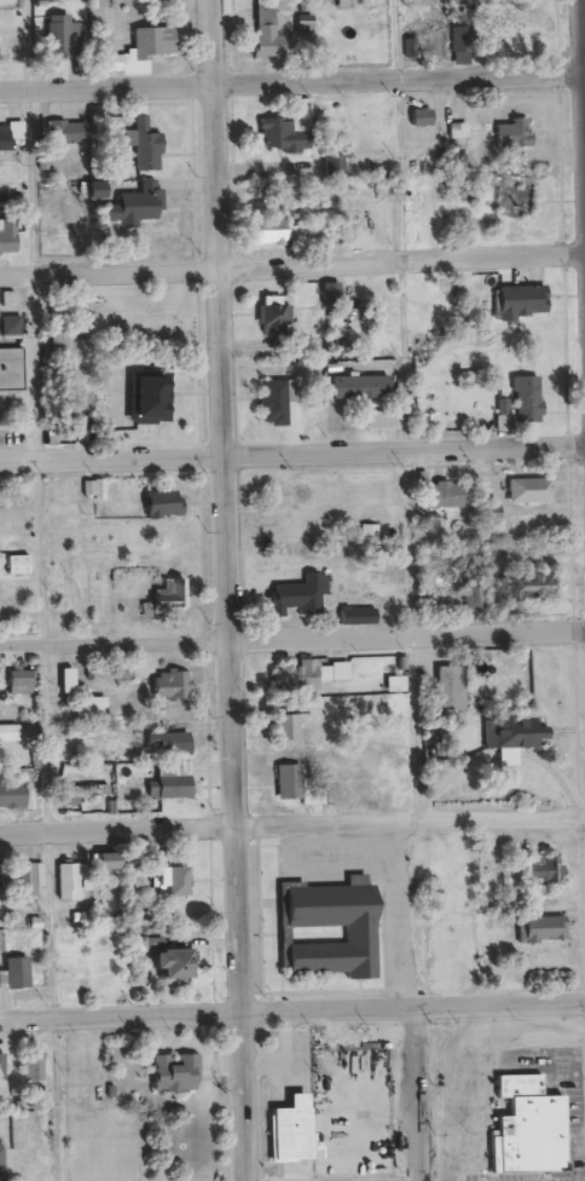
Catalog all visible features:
building: (308, 24)
building: (506, 35)
building: (64, 36)
building: (271, 38)
building: (463, 46)
building: (149, 50)
road: (292, 87)
building: (424, 117)
building: (66, 132)
building: (461, 132)
building: (290, 133)
building: (517, 133)
building: (15, 136)
building: (147, 145)
building: (337, 166)
building: (100, 189)
building: (17, 192)
building: (519, 201)
building: (141, 204)
building: (273, 231)
building: (8, 236)
road: (292, 264)
building: (334, 294)
building: (526, 300)
building: (276, 315)
building: (63, 323)
building: (15, 327)
building: (12, 369)
building: (361, 387)
building: (149, 398)
building: (279, 401)
building: (532, 405)
building: (384, 420)
building: (85, 428)
road: (292, 453)
building: (97, 489)
building: (538, 490)
building: (450, 494)
building: (167, 503)
building: (21, 563)
building: (534, 584)
road: (222, 590)
building: (174, 592)
building: (303, 594)
building: (477, 598)
building: (360, 615)
road: (292, 641)
building: (337, 670)
building: (126, 672)
building: (300, 674)
building: (70, 679)
building: (23, 681)
building: (175, 684)
building: (453, 690)
building: (93, 705)
building: (288, 725)
building: (519, 731)
building: (10, 732)
building: (175, 737)
building: (176, 779)
building: (292, 780)
building: (91, 790)
building: (13, 793)
road: (52, 820)
road: (291, 824)
building: (112, 860)
building: (545, 872)
building: (34, 878)
building: (71, 880)
building: (179, 880)
building: (332, 927)
building: (545, 928)
building: (178, 962)
building: (17, 973)
road: (292, 1013)
building: (4, 1062)
building: (36, 1065)
building: (179, 1071)
road: (419, 1095)
building: (532, 1127)
building: (295, 1128)
building: (27, 1159)
building: (2, 1163)

